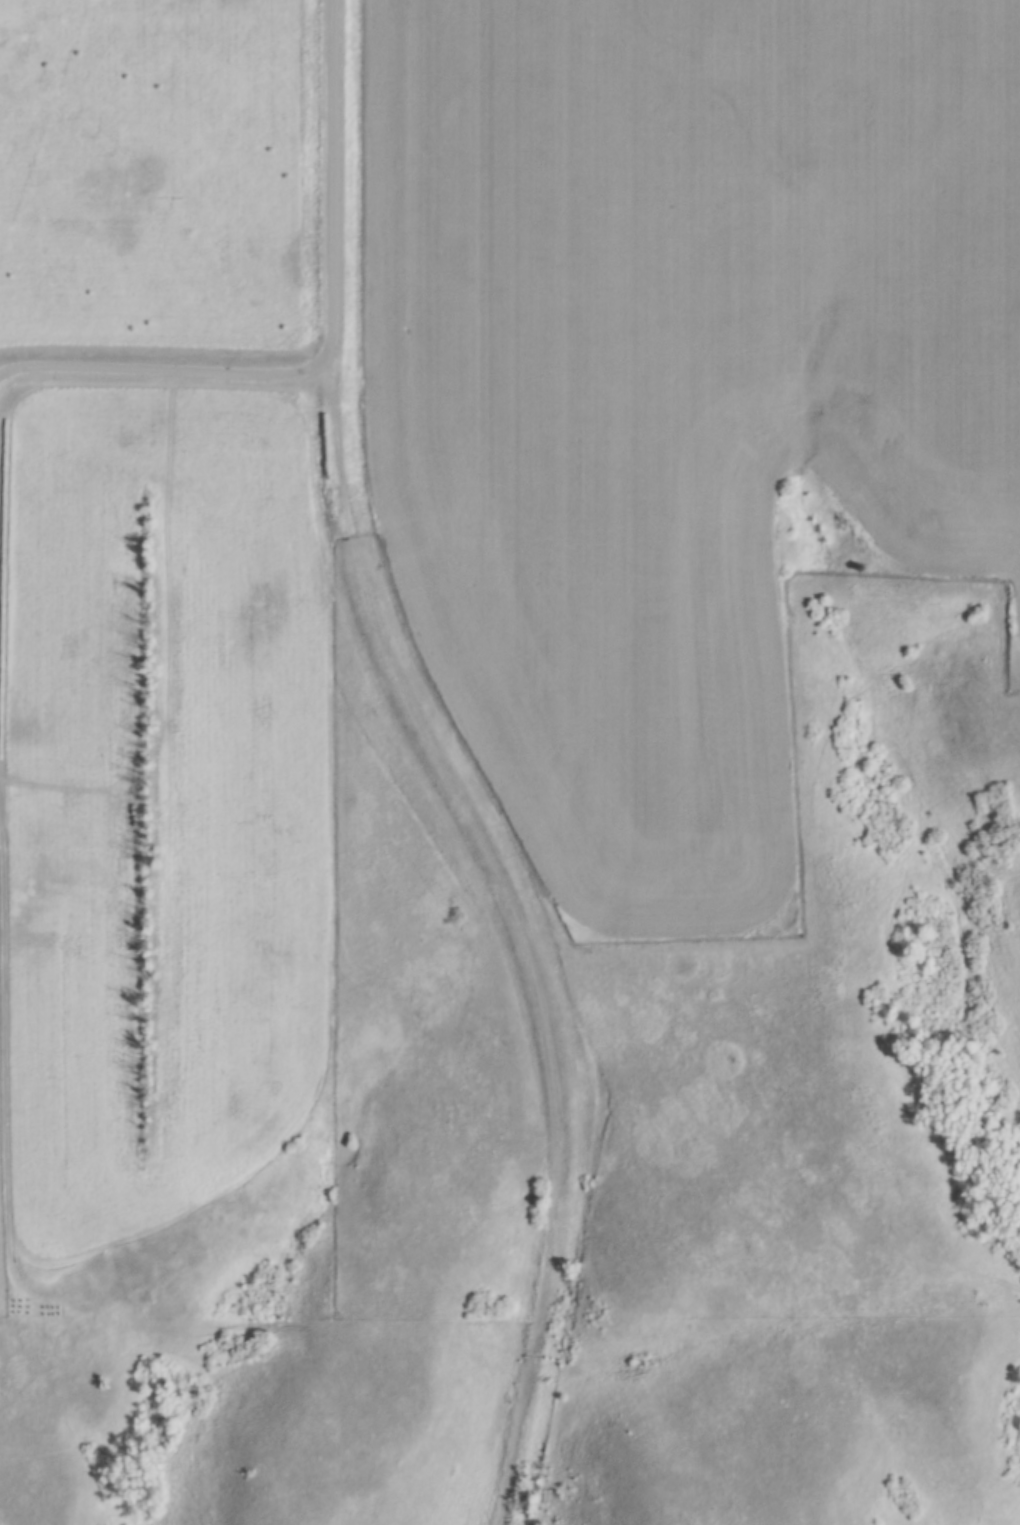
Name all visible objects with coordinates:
road: (338, 182)
road: (162, 368)
road: (529, 927)

